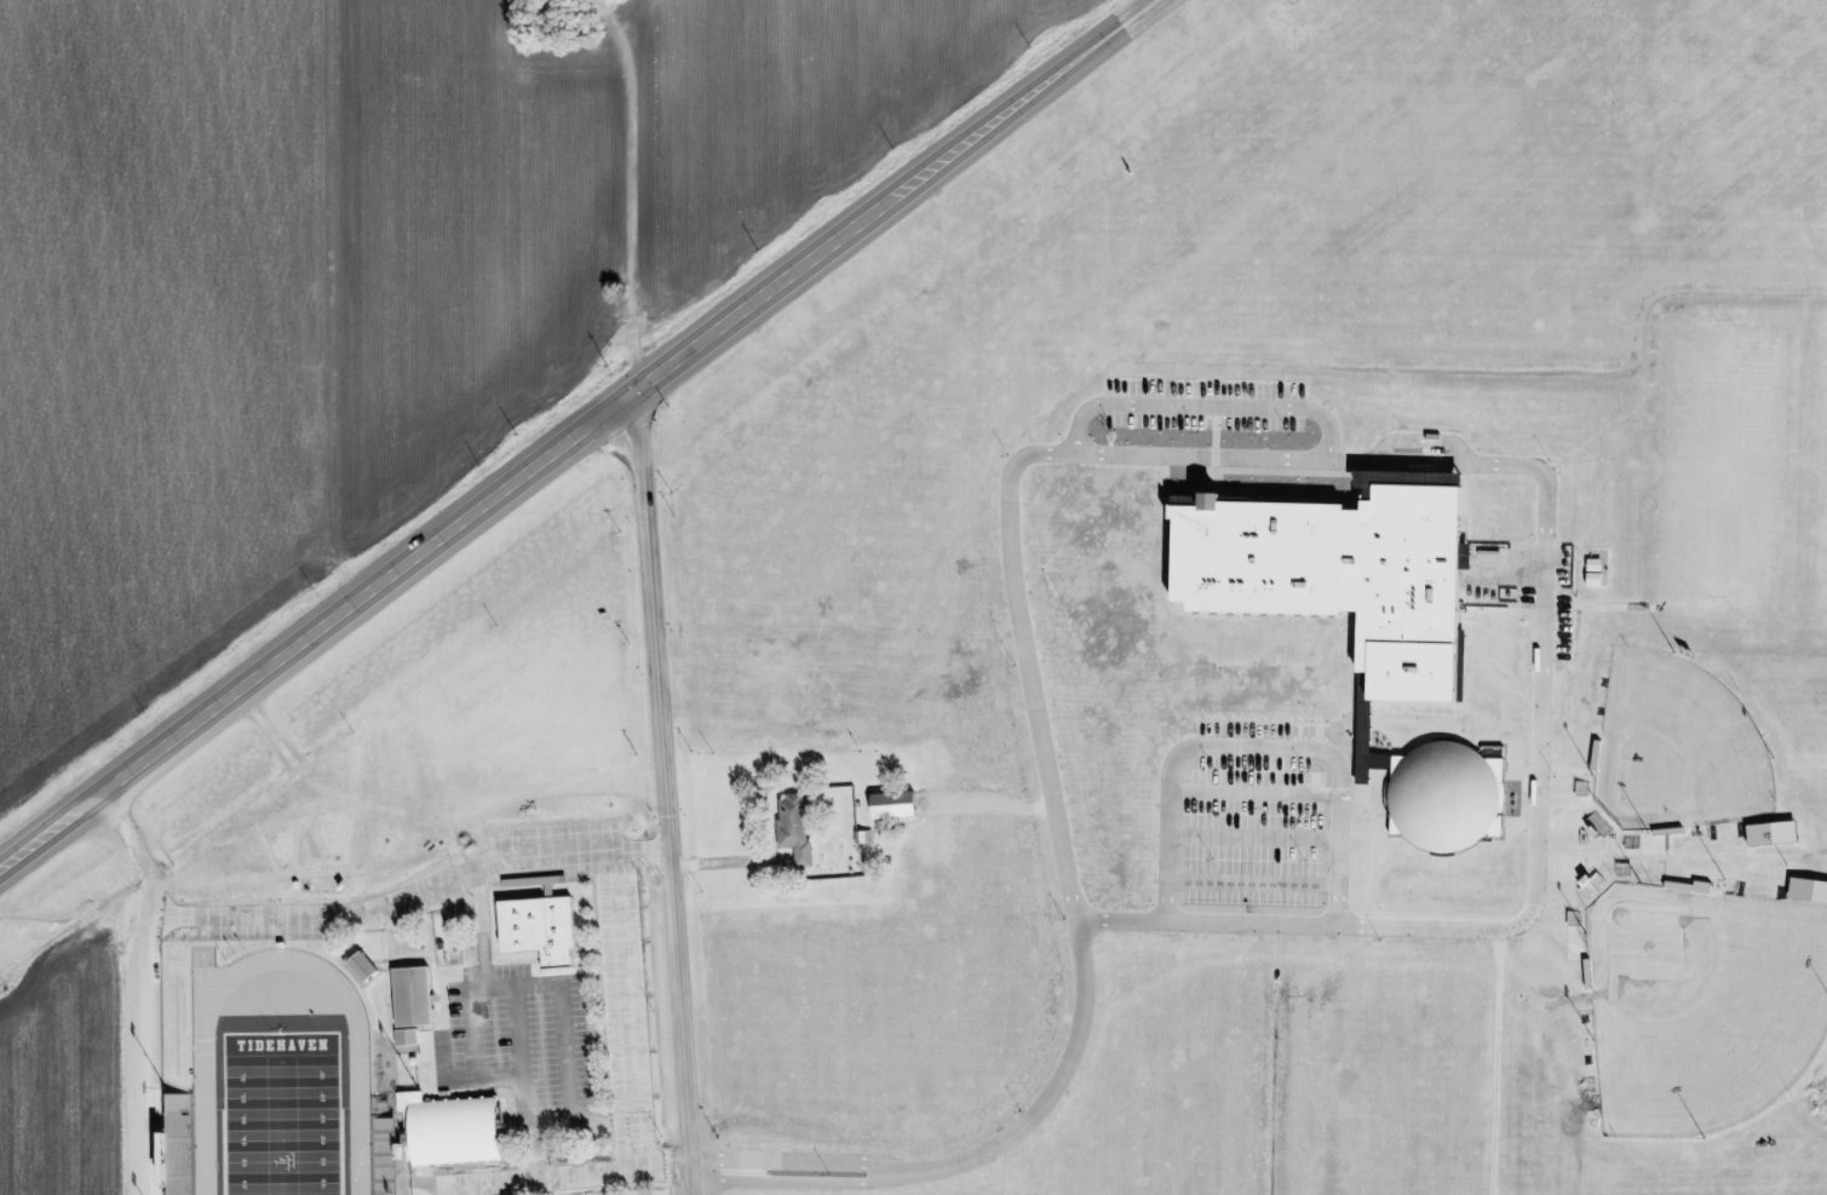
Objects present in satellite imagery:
road: (571, 437)
building: (1343, 578)
road: (1542, 662)
road: (667, 791)
building: (1446, 797)
building: (896, 806)
building: (798, 829)
building: (1775, 835)
building: (1809, 891)
road: (414, 895)
building: (541, 931)
building: (362, 969)
road: (154, 987)
building: (414, 999)
road: (627, 1012)
building: (409, 1040)
road: (1056, 1081)
park: (285, 1113)
track: (362, 1116)
building: (454, 1131)

